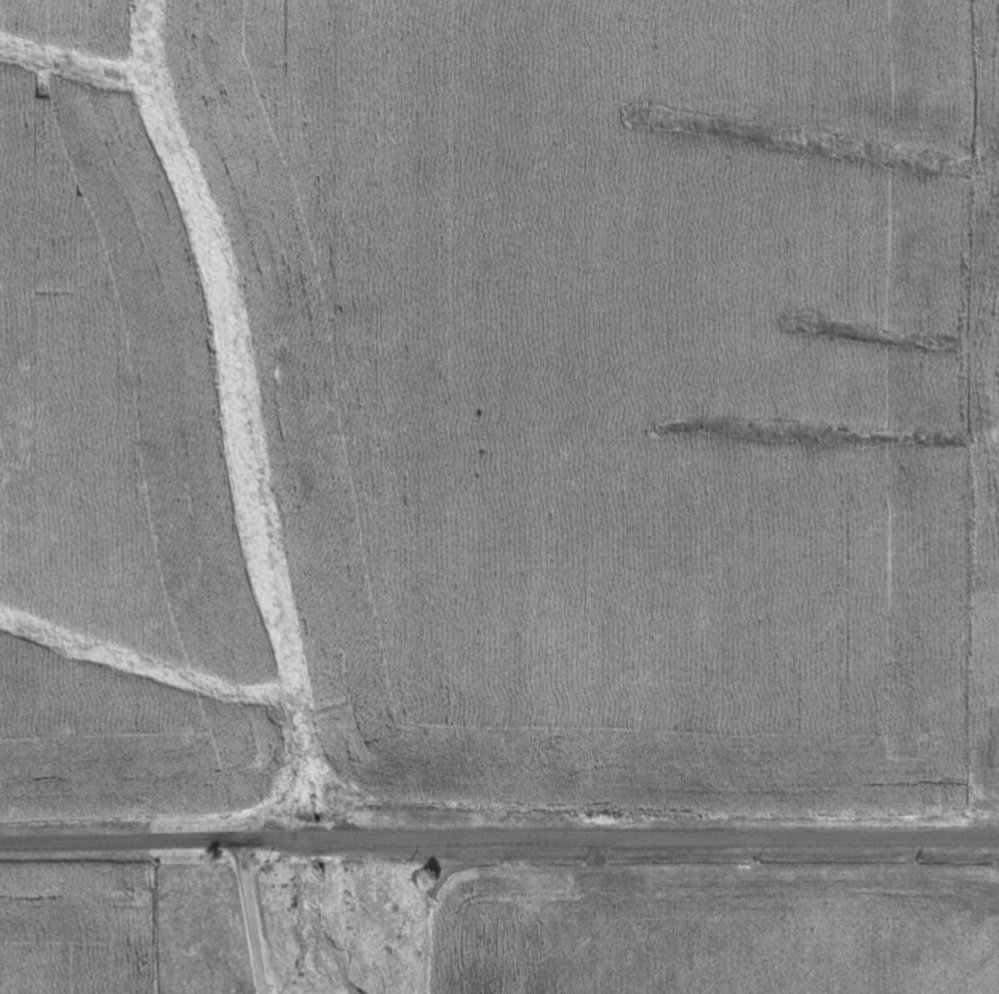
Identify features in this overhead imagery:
road: (499, 838)
road: (273, 917)

